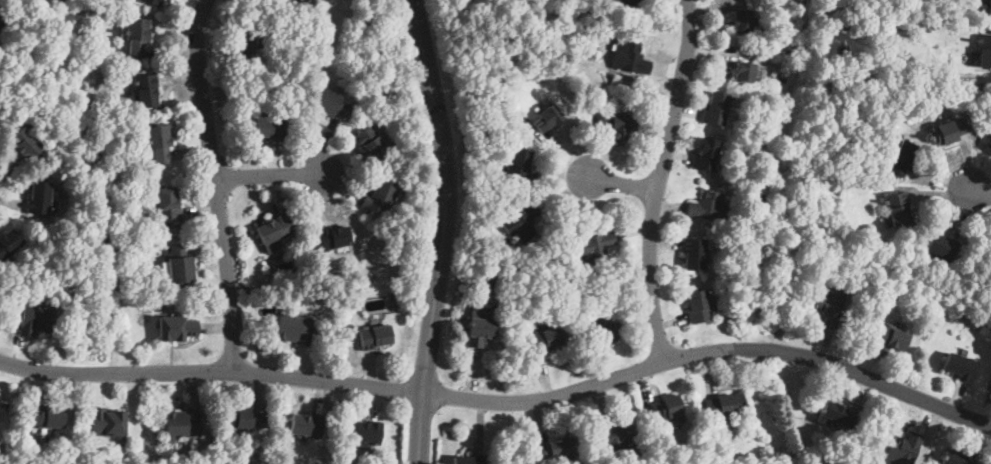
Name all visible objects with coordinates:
building: (154, 2)
building: (293, 2)
building: (627, 4)
building: (562, 8)
building: (989, 9)
building: (960, 10)
building: (570, 11)
building: (741, 21)
building: (889, 22)
building: (594, 23)
building: (355, 34)
building: (137, 36)
building: (88, 39)
building: (903, 42)
building: (247, 46)
building: (984, 51)
building: (571, 56)
building: (0, 57)
building: (630, 59)
building: (84, 64)
building: (744, 72)
building: (81, 73)
building: (542, 73)
building: (355, 77)
building: (53, 80)
building: (145, 92)
building: (383, 95)
building: (329, 103)
building: (715, 109)
building: (547, 118)
building: (617, 122)
building: (269, 127)
building: (948, 131)
building: (371, 142)
building: (157, 143)
building: (990, 143)
building: (26, 145)
building: (705, 155)
building: (903, 159)
building: (520, 164)
road: (271, 175)
road: (656, 180)
road: (620, 185)
road: (218, 186)
road: (979, 192)
building: (380, 196)
building: (39, 199)
building: (168, 205)
building: (708, 207)
building: (898, 208)
building: (521, 223)
building: (274, 229)
road: (444, 230)
building: (332, 238)
building: (404, 242)
building: (9, 244)
building: (595, 247)
building: (942, 247)
building: (163, 249)
building: (694, 254)
building: (181, 265)
building: (591, 271)
building: (493, 282)
building: (545, 296)
building: (895, 300)
building: (699, 307)
building: (829, 307)
building: (38, 319)
building: (346, 327)
building: (177, 329)
building: (294, 329)
building: (608, 331)
building: (480, 332)
building: (374, 336)
building: (890, 337)
building: (547, 339)
road: (708, 356)
building: (960, 367)
road: (210, 374)
building: (725, 405)
building: (669, 408)
building: (3, 409)
building: (835, 414)
building: (48, 417)
building: (244, 418)
building: (108, 423)
building: (183, 425)
building: (307, 425)
building: (365, 432)
building: (614, 435)
building: (556, 448)
building: (903, 450)
building: (955, 457)
building: (469, 459)
building: (338, 463)

